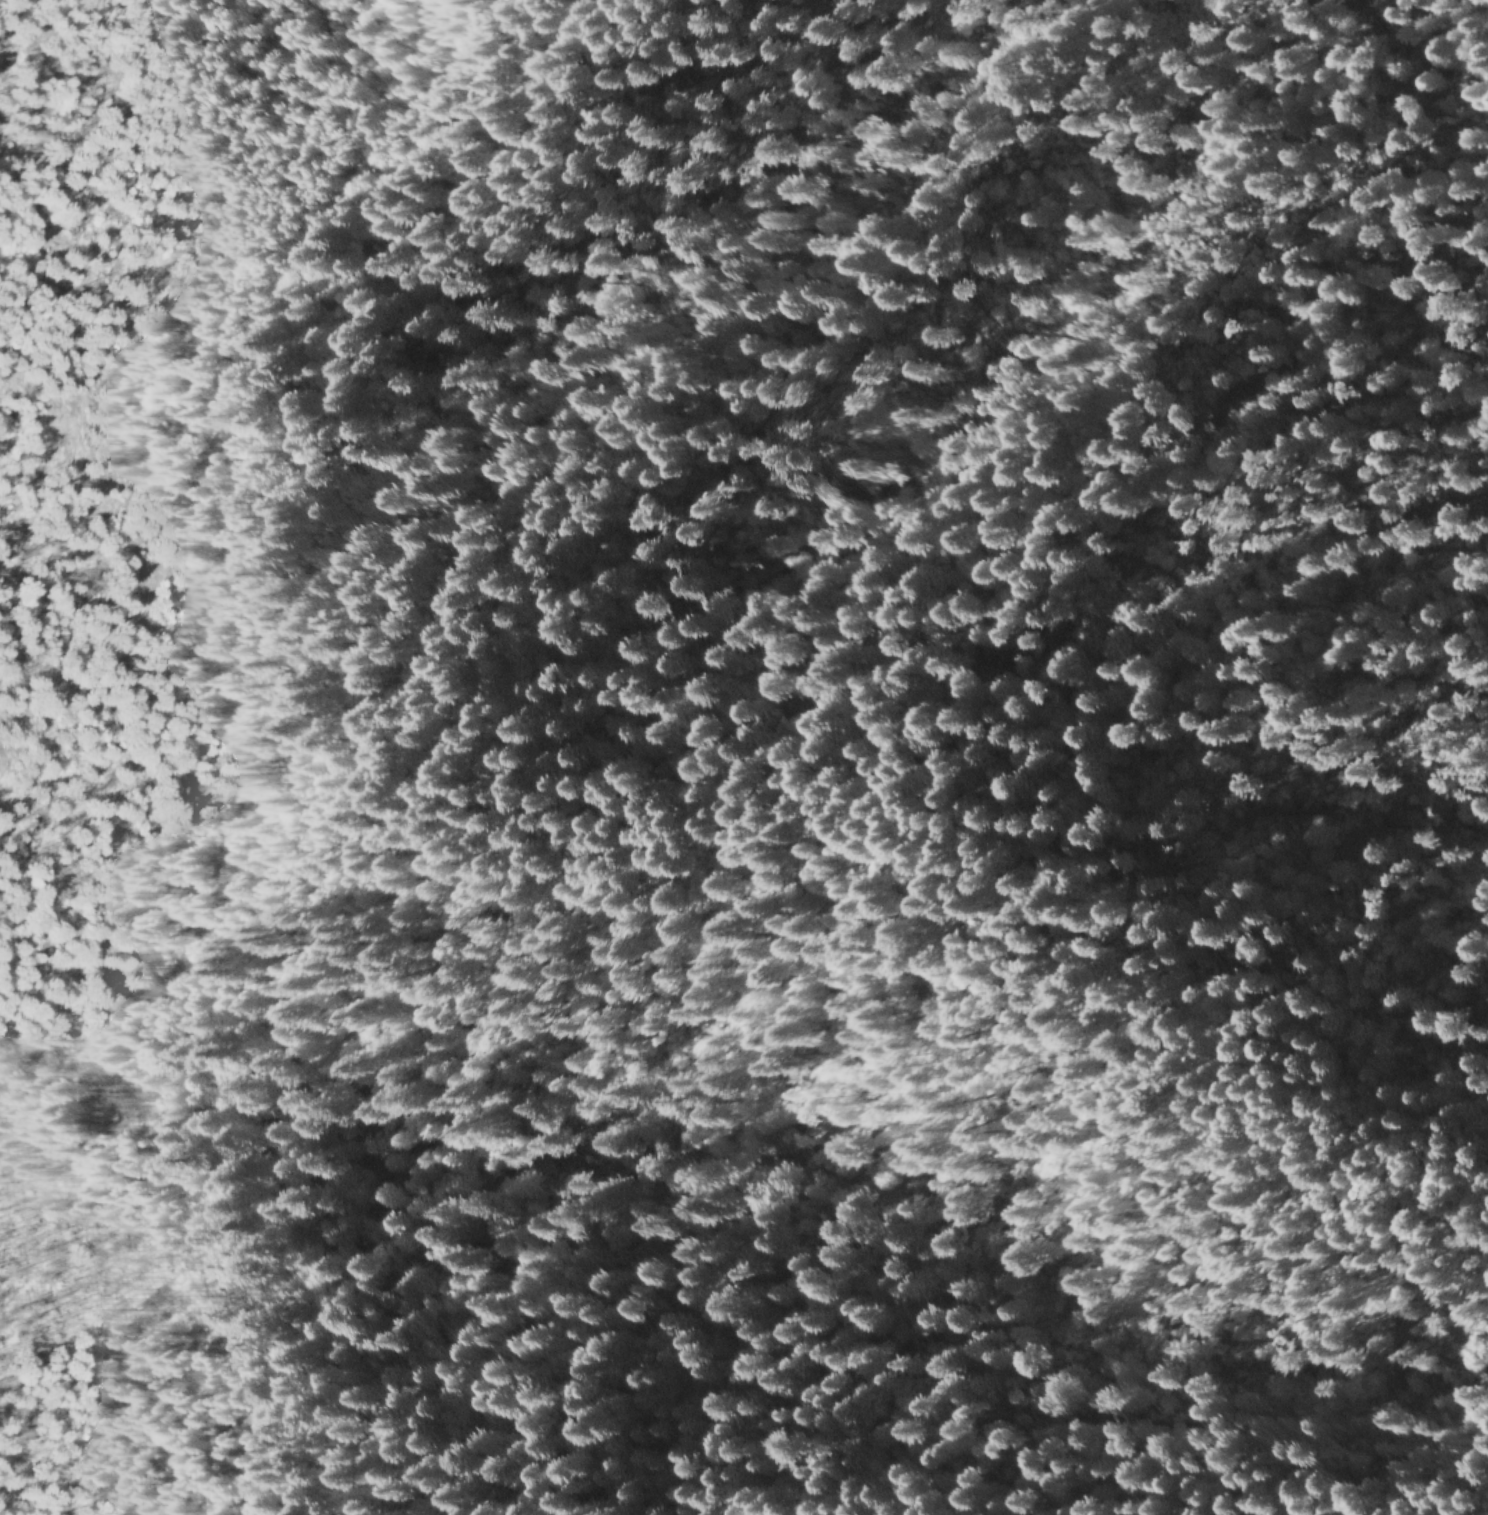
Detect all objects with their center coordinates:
road: (1459, 74)

